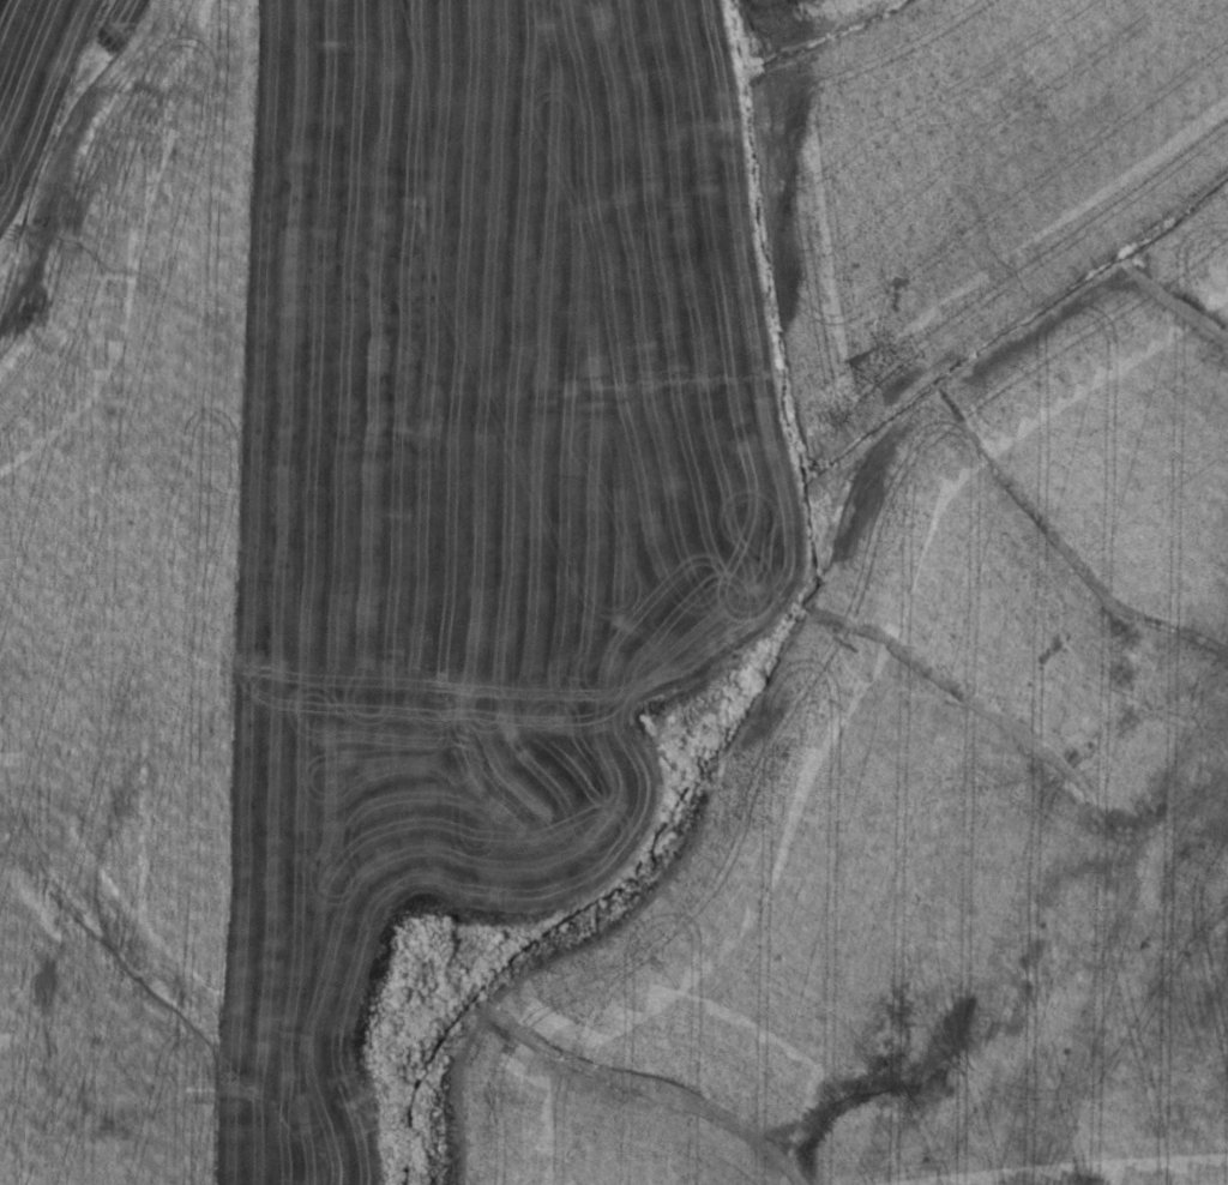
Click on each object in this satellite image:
crop: (31, 86)
crop: (625, 585)

